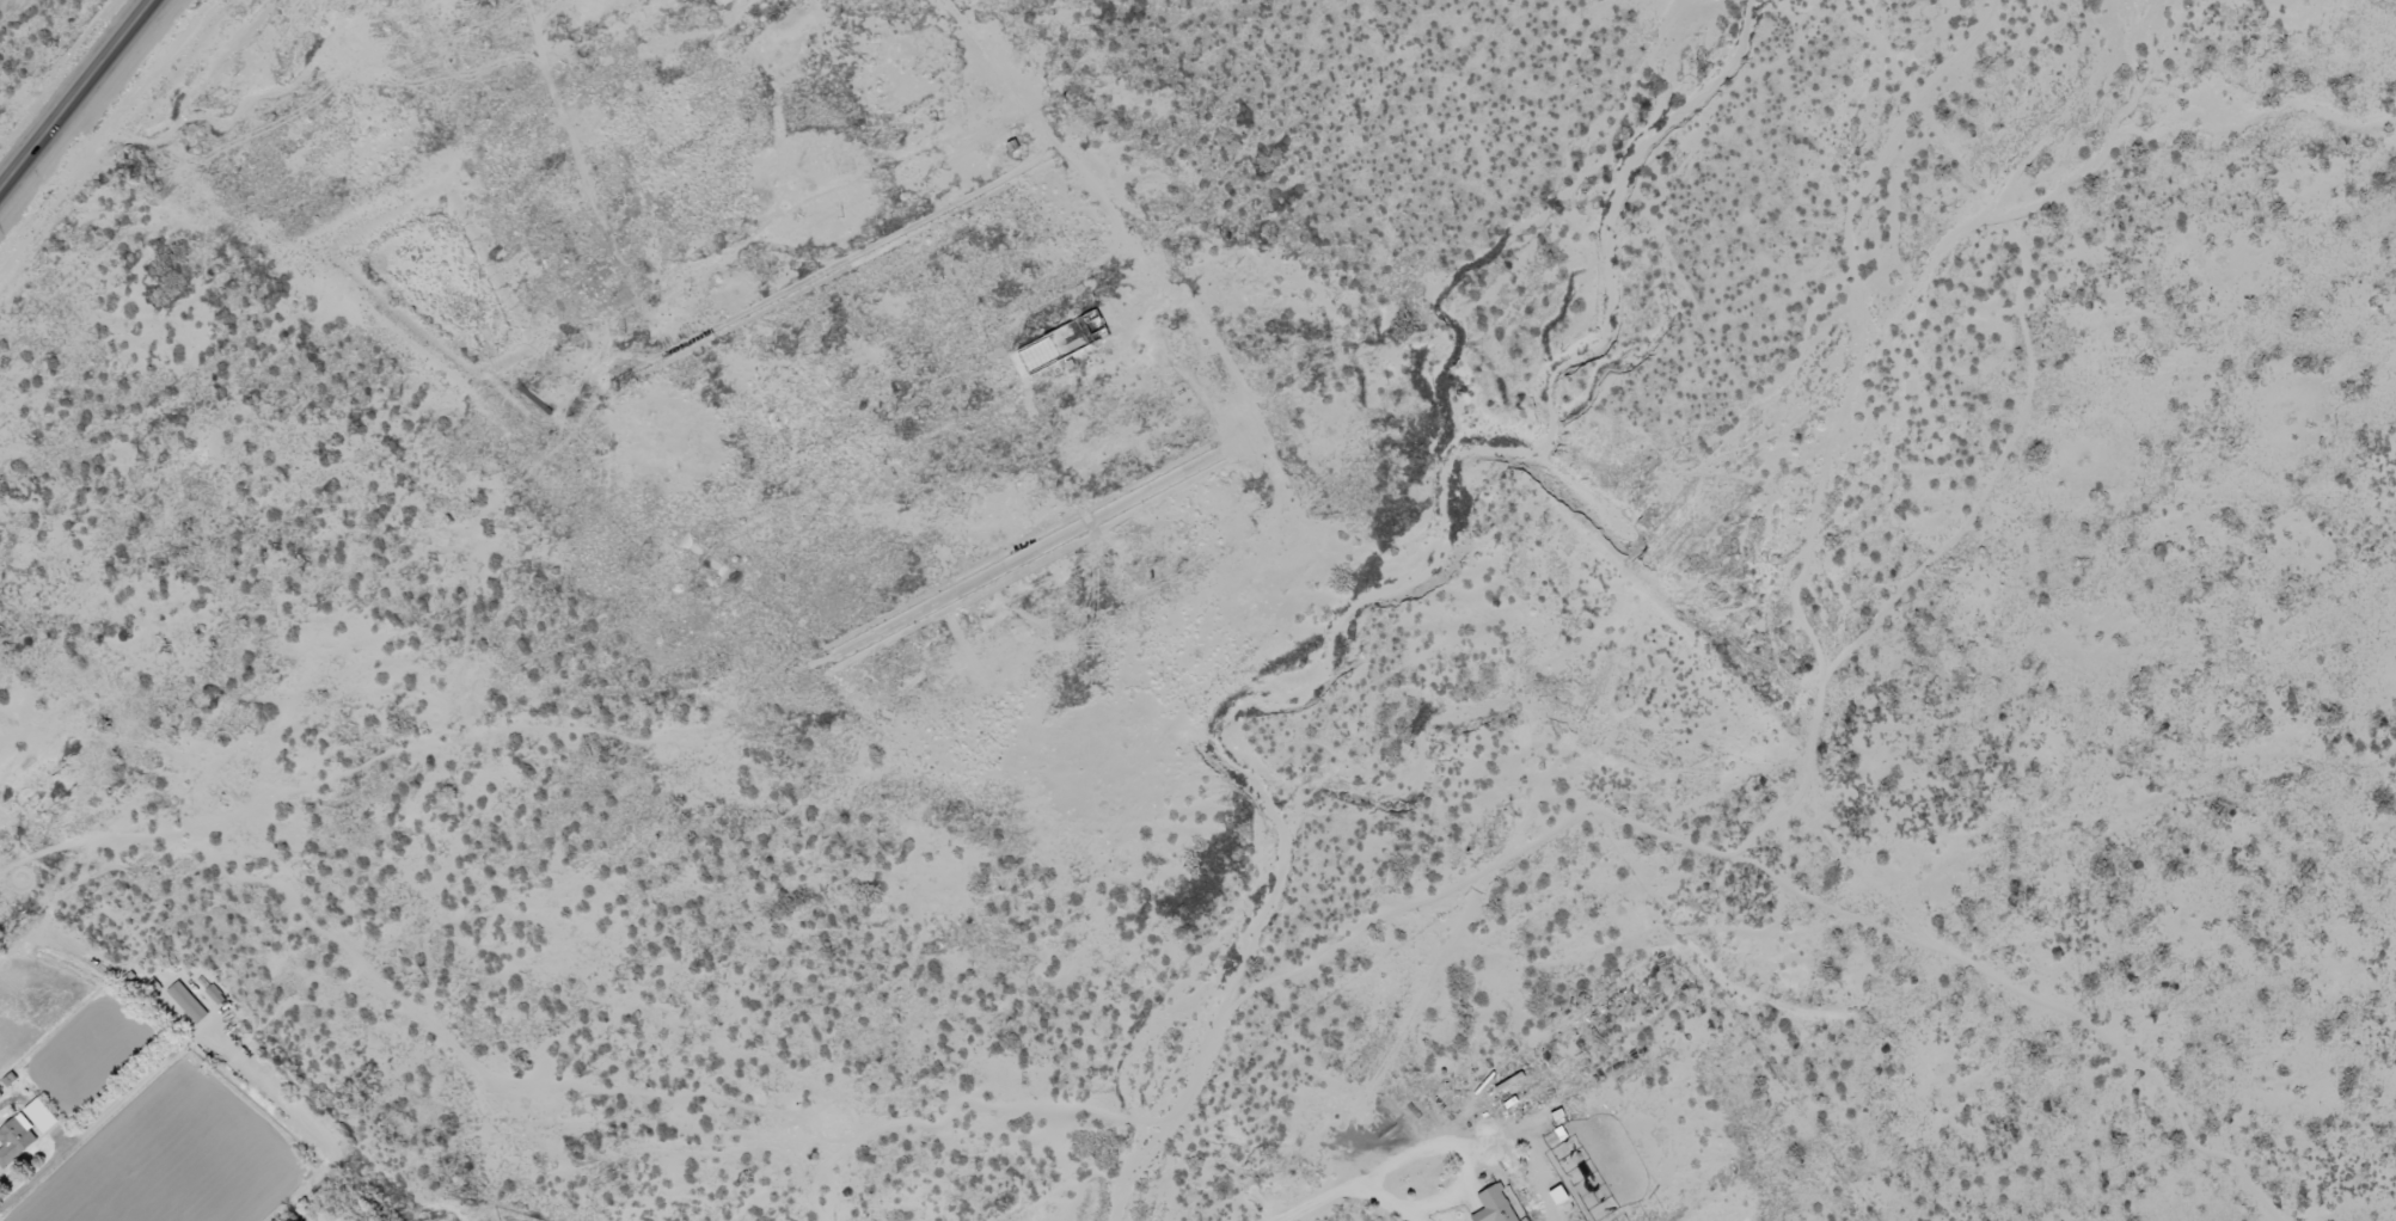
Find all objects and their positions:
road: (118, 43)
road: (42, 139)
building: (213, 995)
building: (186, 1004)
building: (41, 1117)
building: (16, 1141)
road: (2367, 1191)
building: (1494, 1205)

